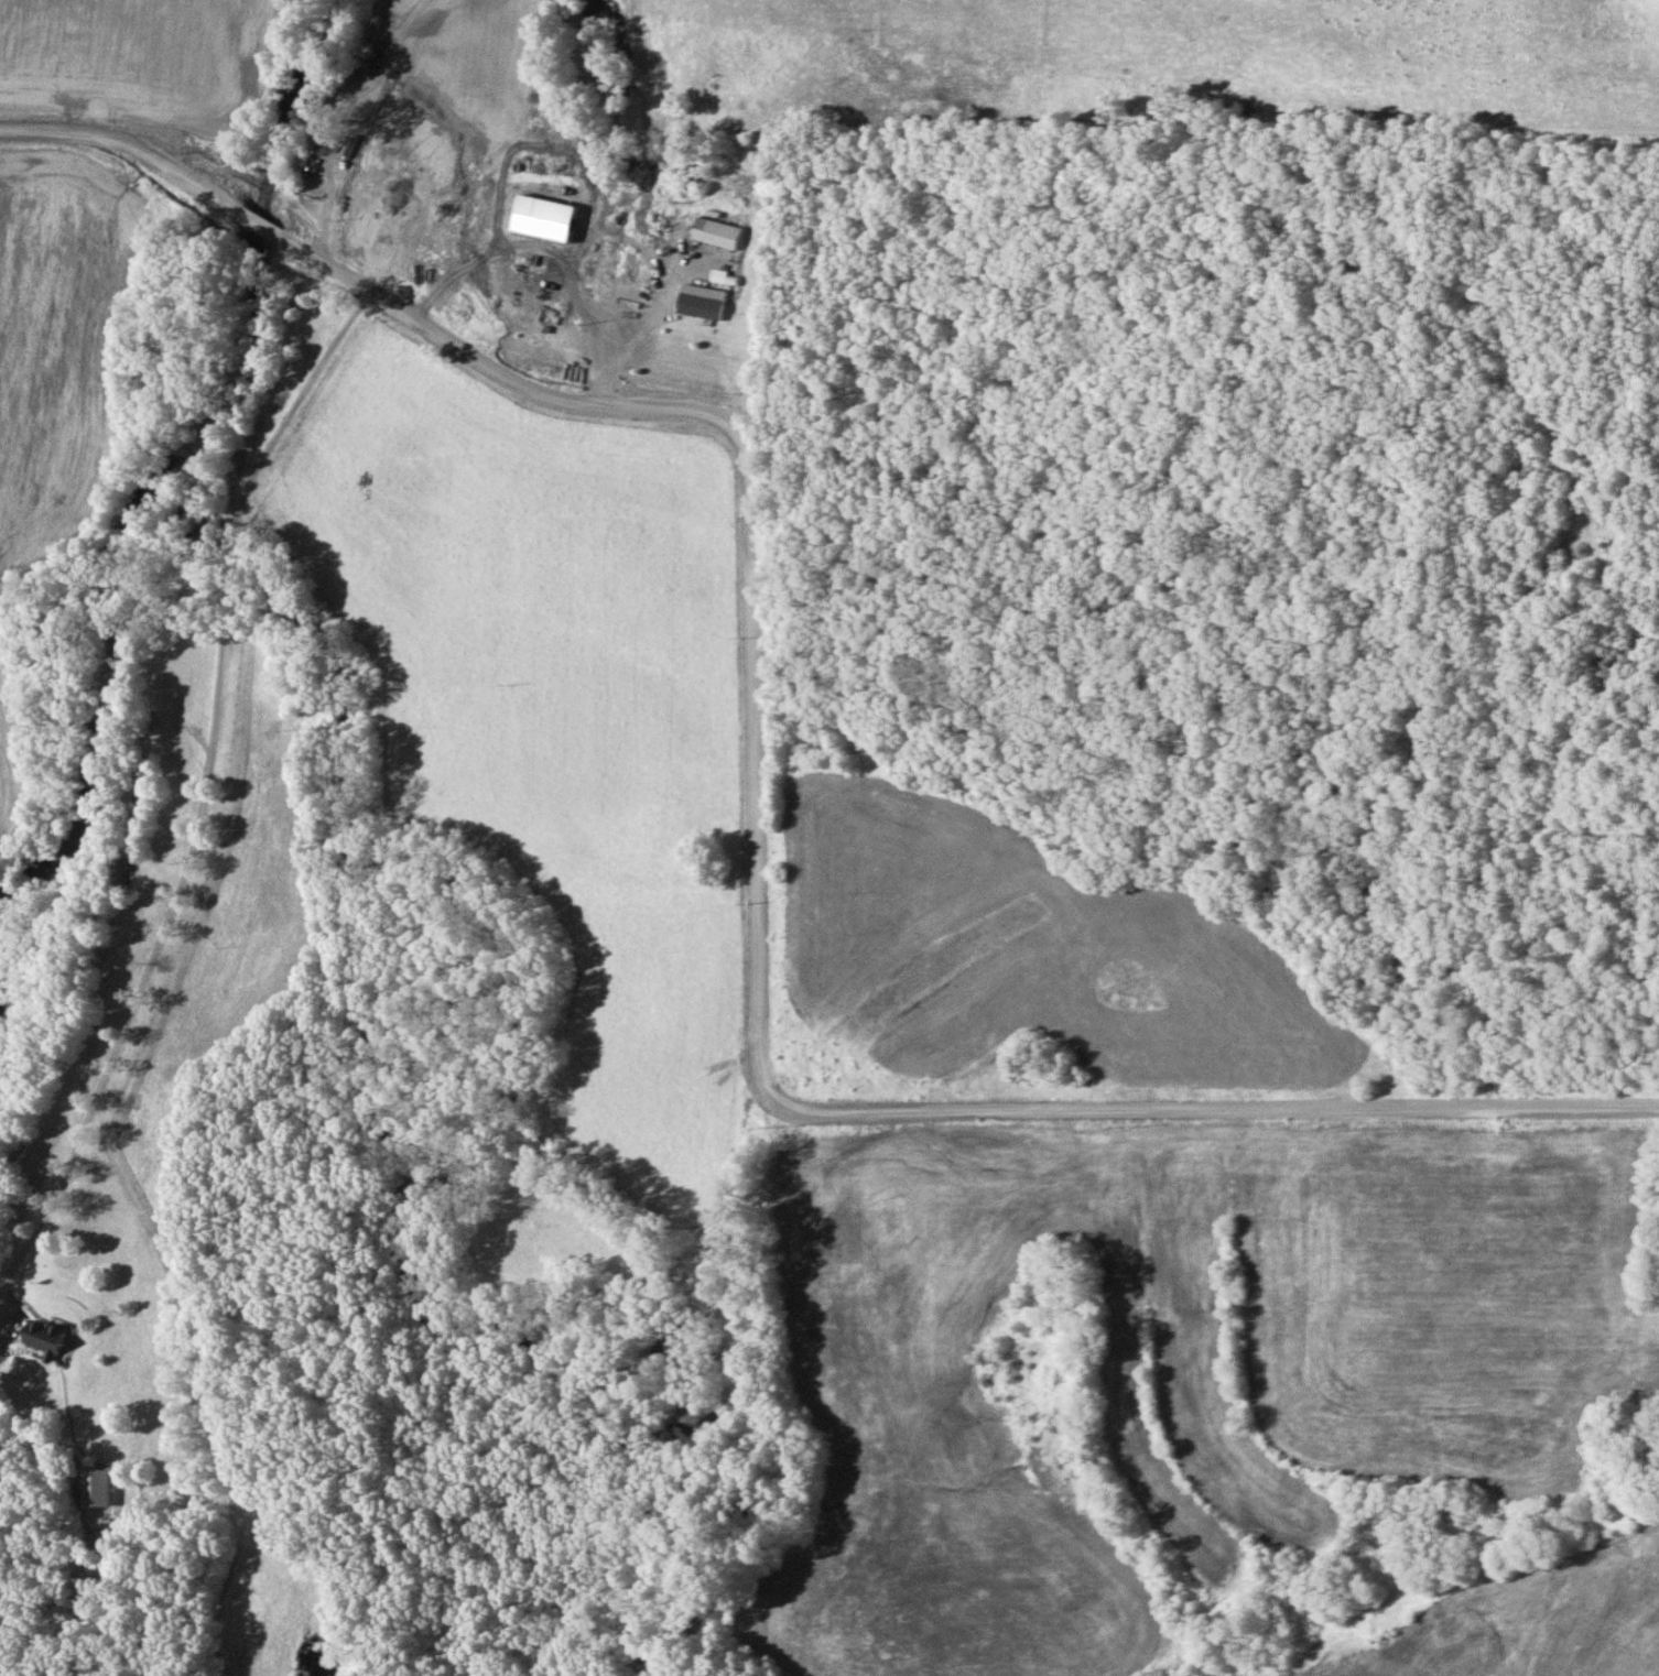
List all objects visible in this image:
road: (357, 123)
road: (121, 149)
road: (258, 222)
building: (718, 231)
building: (703, 304)
road: (624, 345)
river: (186, 465)
road: (199, 821)
road: (757, 957)
building: (52, 1338)
building: (100, 1485)

